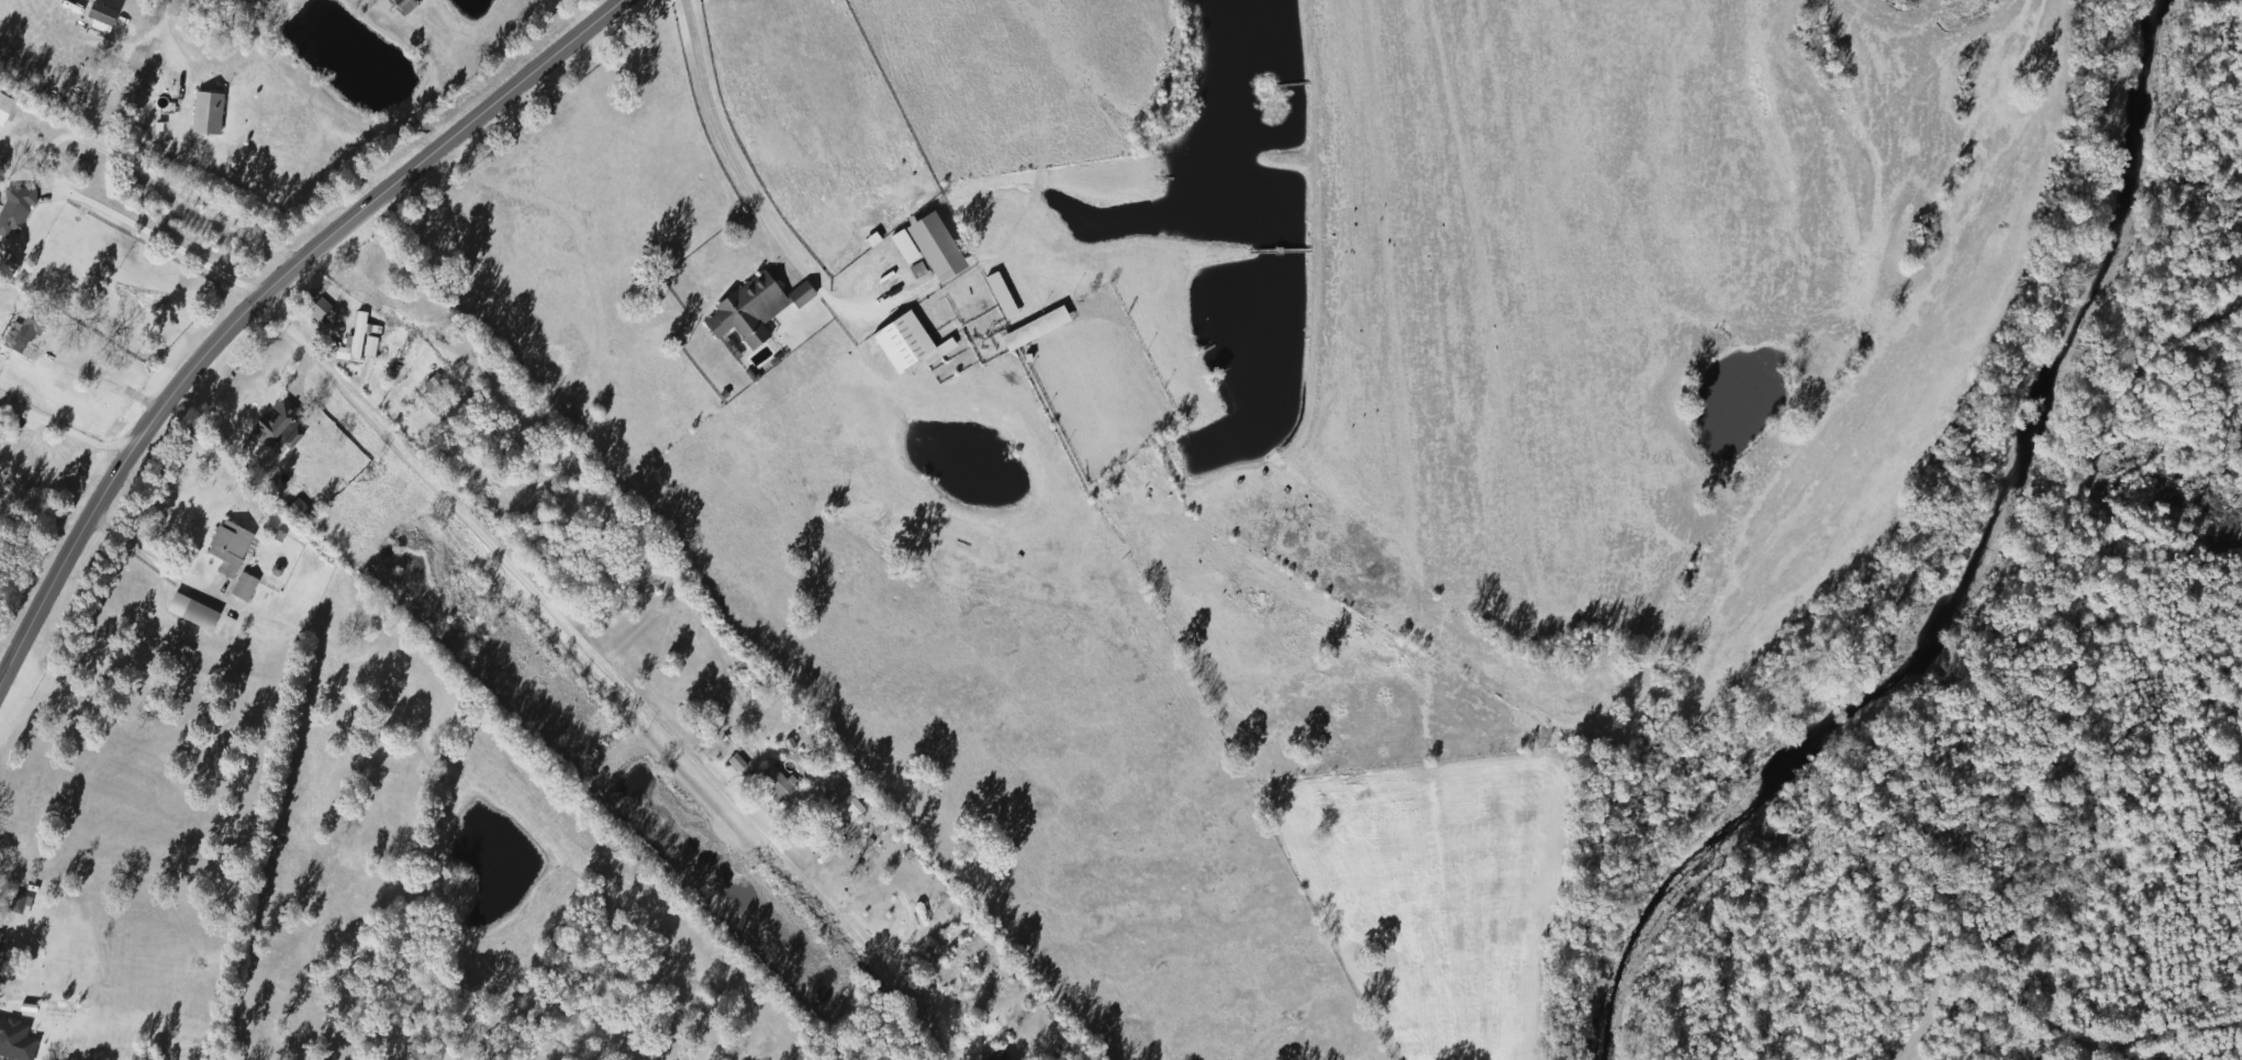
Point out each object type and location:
building: (100, 23)
building: (2, 103)
building: (153, 113)
building: (12, 208)
building: (923, 246)
road: (257, 294)
building: (748, 305)
building: (315, 309)
building: (1031, 326)
building: (352, 337)
building: (897, 342)
building: (25, 352)
building: (272, 426)
building: (223, 547)
building: (238, 587)
building: (192, 615)
road: (573, 637)
building: (732, 762)
building: (771, 784)
building: (15, 905)

